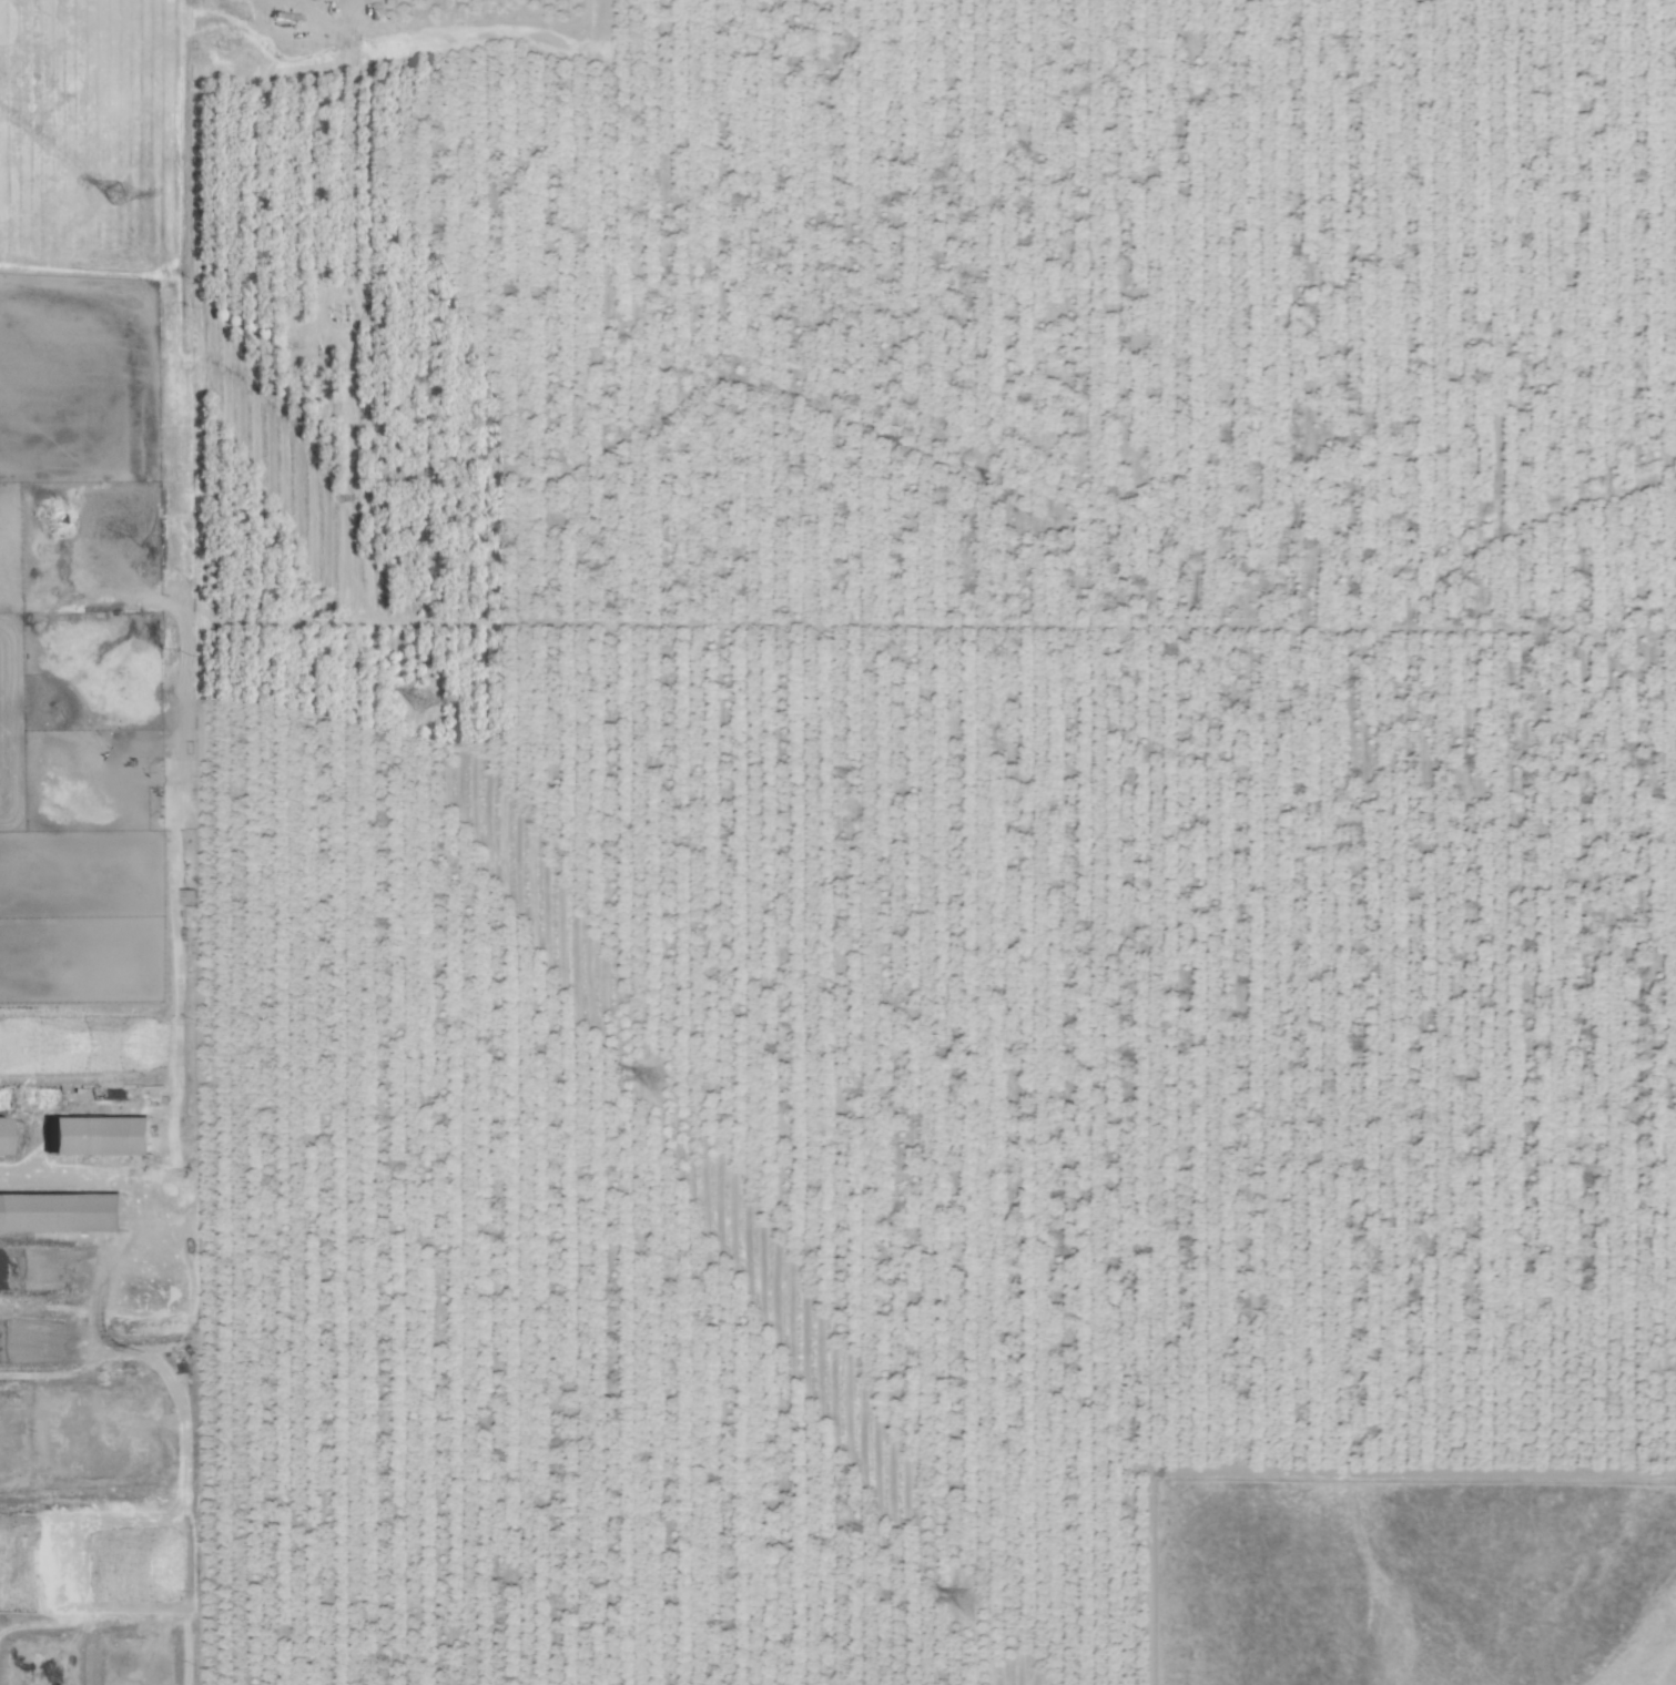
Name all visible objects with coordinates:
building: (114, 194)
power tower: (114, 194)
power tower: (419, 698)
power tower: (647, 1079)
building: (2, 1136)
building: (98, 1137)
building: (60, 1215)
power tower: (963, 1597)

